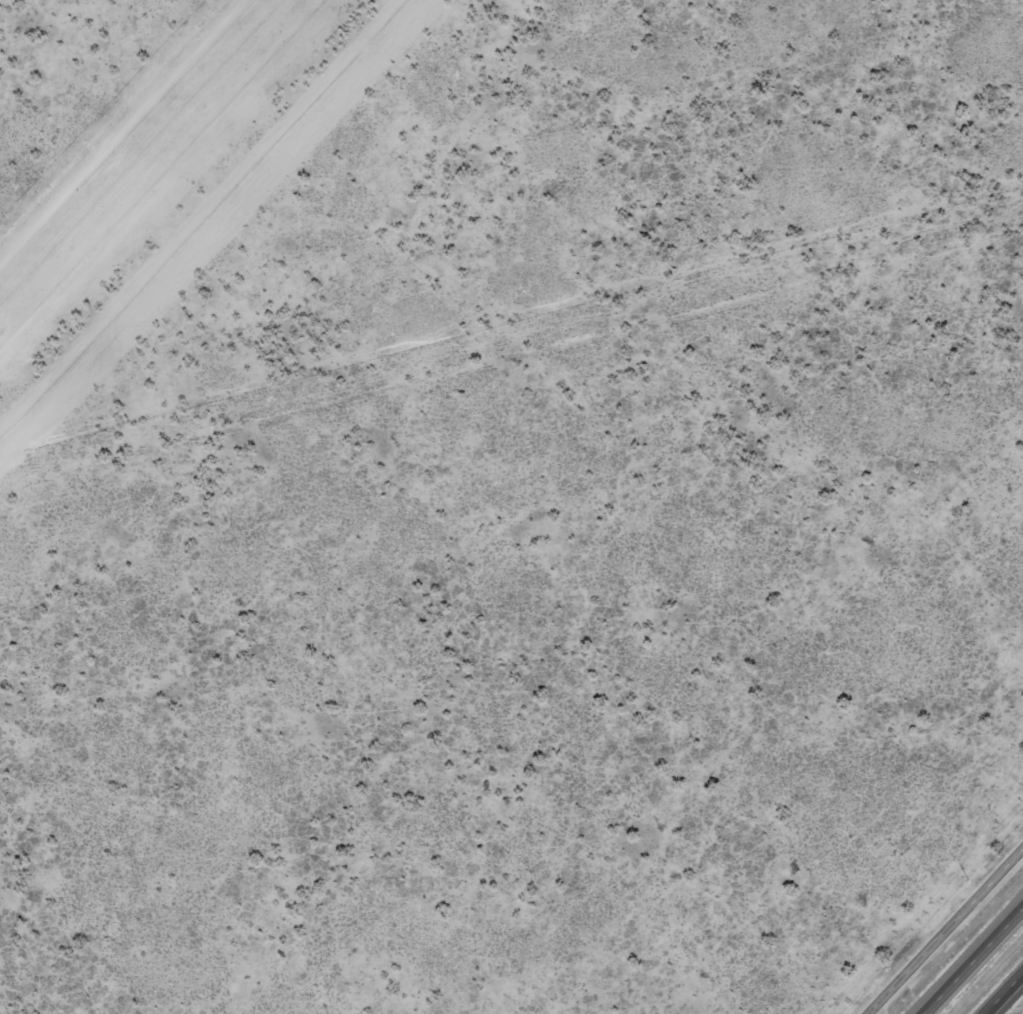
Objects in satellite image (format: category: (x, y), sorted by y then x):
road: (937, 927)
road: (972, 959)
road: (1003, 992)

